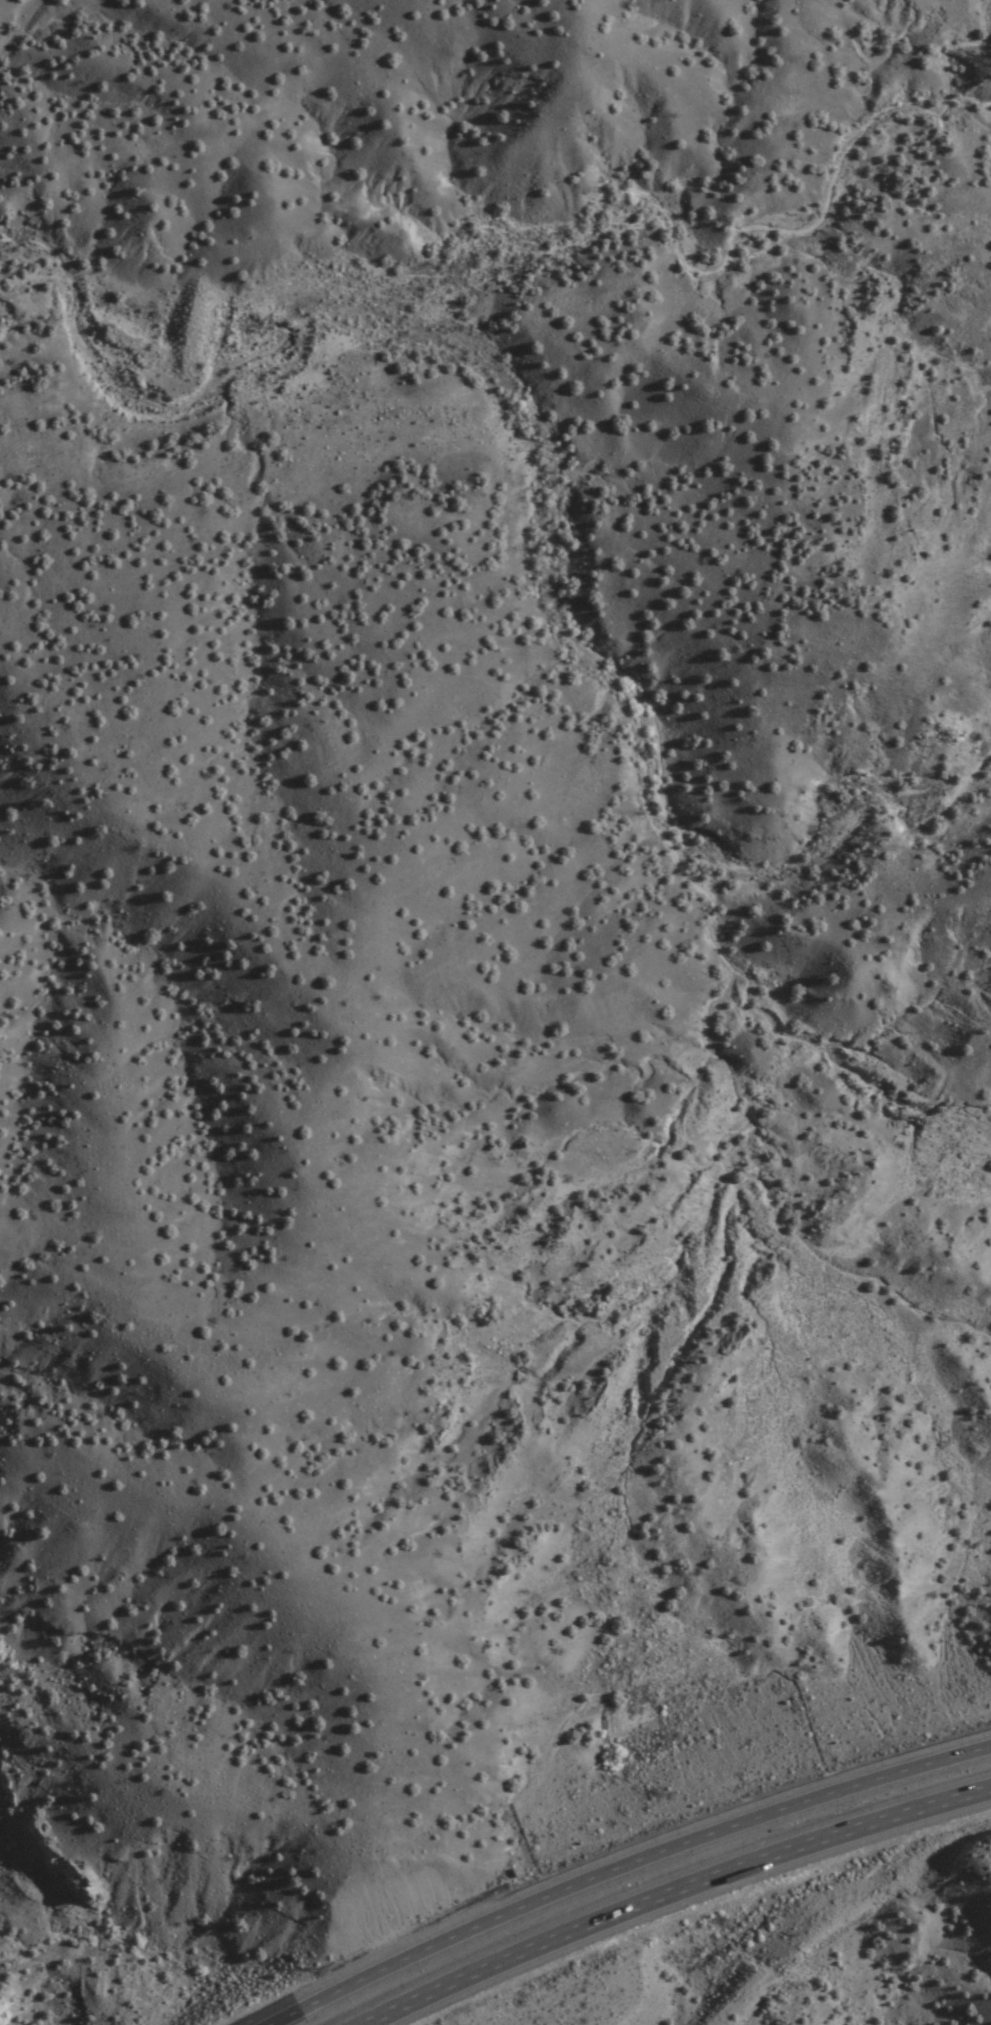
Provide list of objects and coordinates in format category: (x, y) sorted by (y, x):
road: (629, 1867)
road: (674, 1893)

